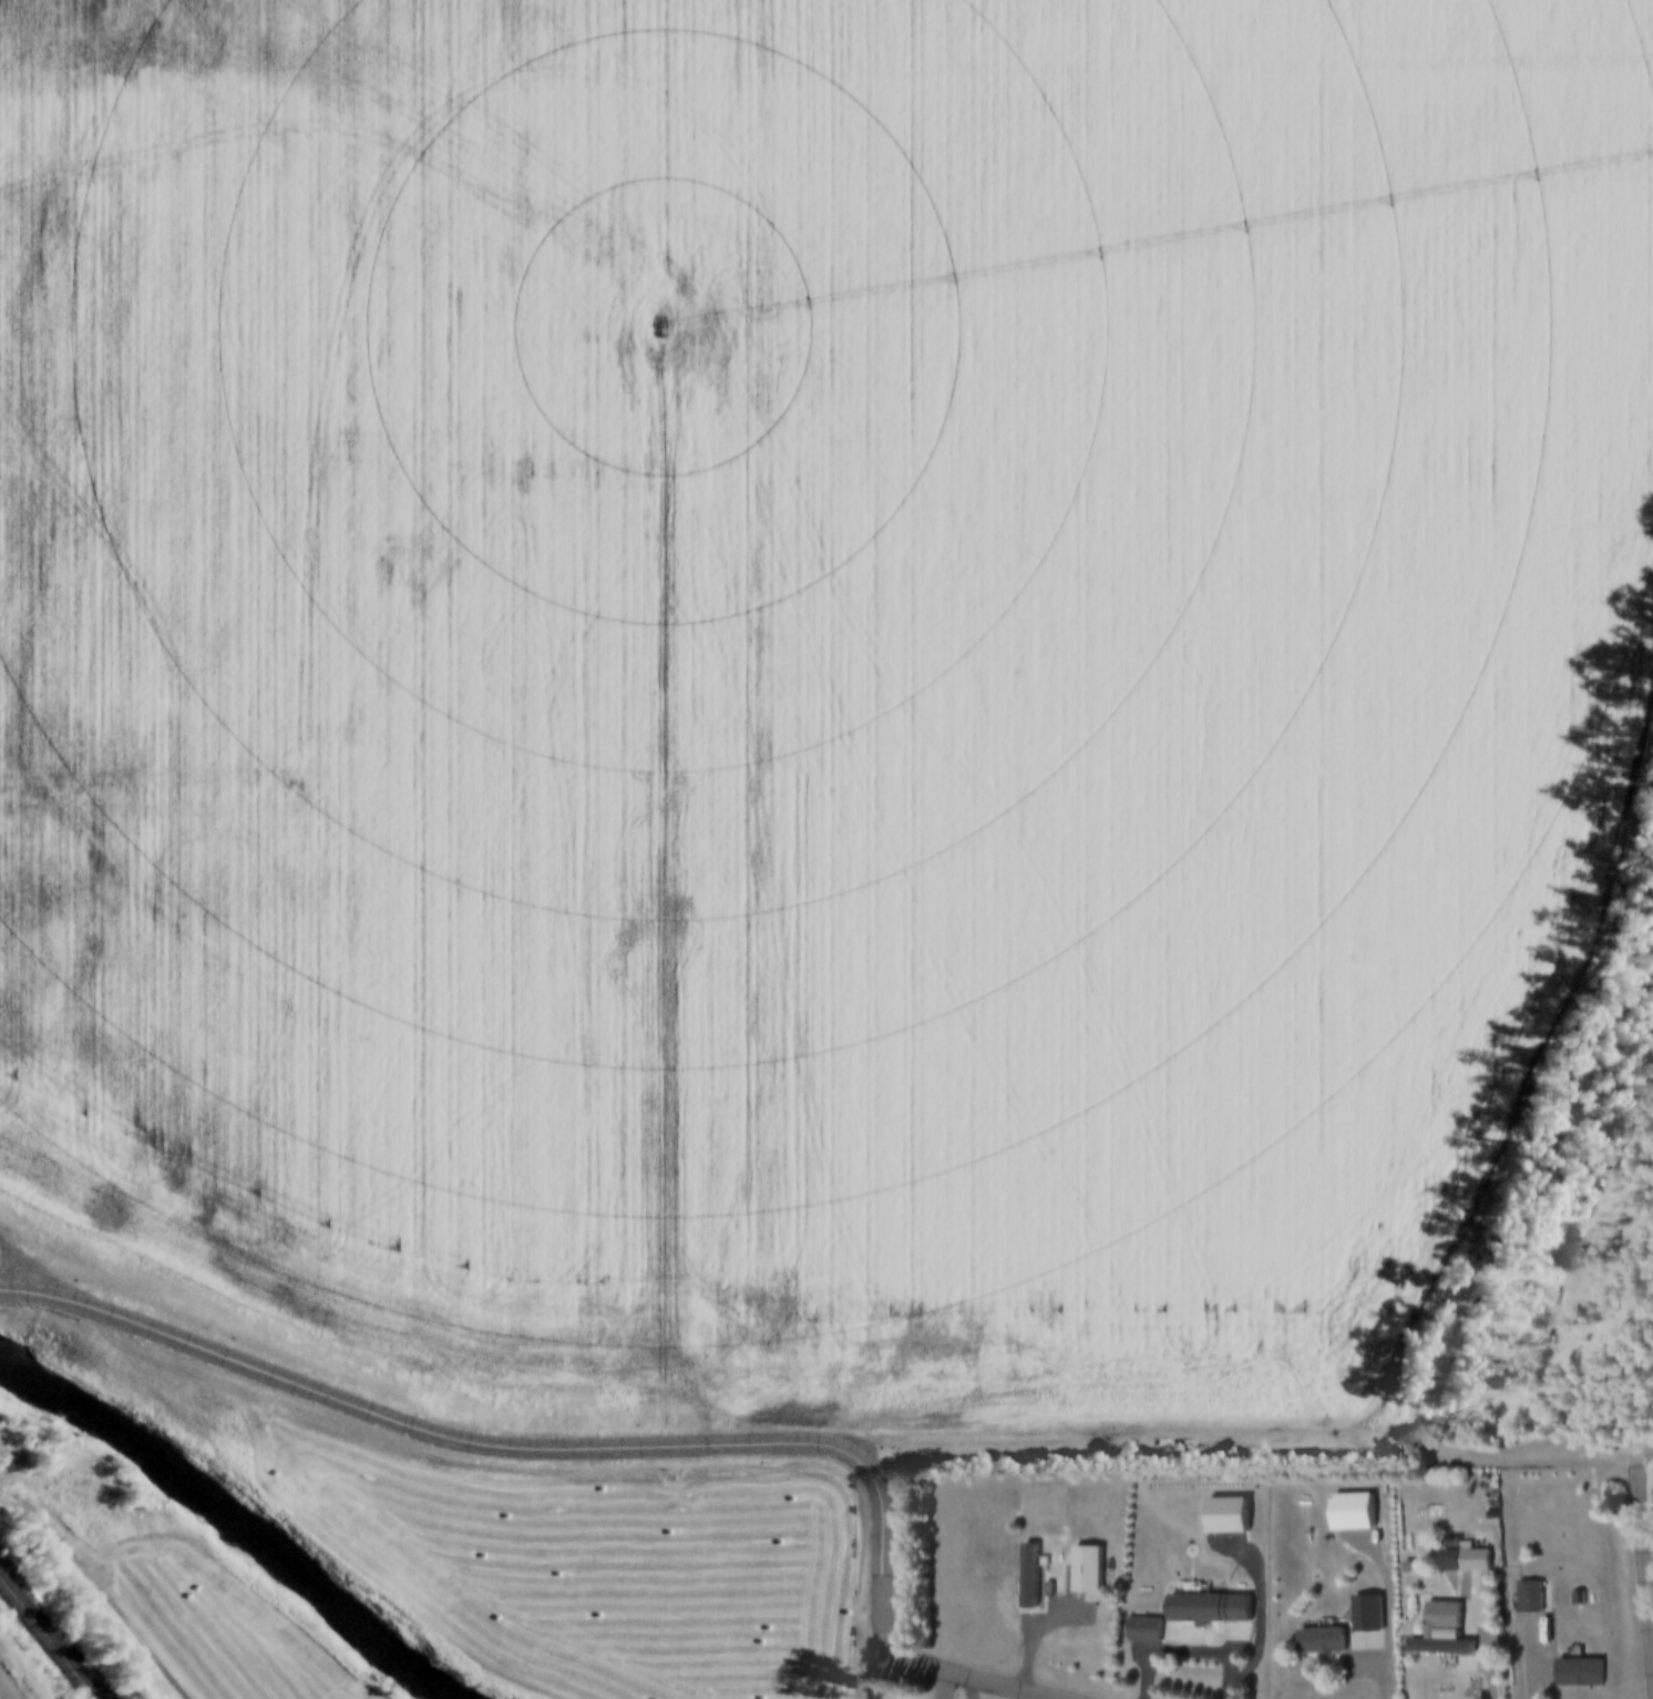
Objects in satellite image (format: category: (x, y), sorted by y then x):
road: (4, 1285)
road: (407, 1431)
road: (1644, 1538)
building: (1472, 1563)
building: (1086, 1573)
building: (1528, 1599)
building: (1365, 1617)
building: (1180, 1627)
road: (871, 1628)
building: (1142, 1633)
railway: (50, 1636)
road: (1482, 1641)
building: (1320, 1644)
building: (1440, 1649)
road: (1532, 1660)
road: (1382, 1672)

